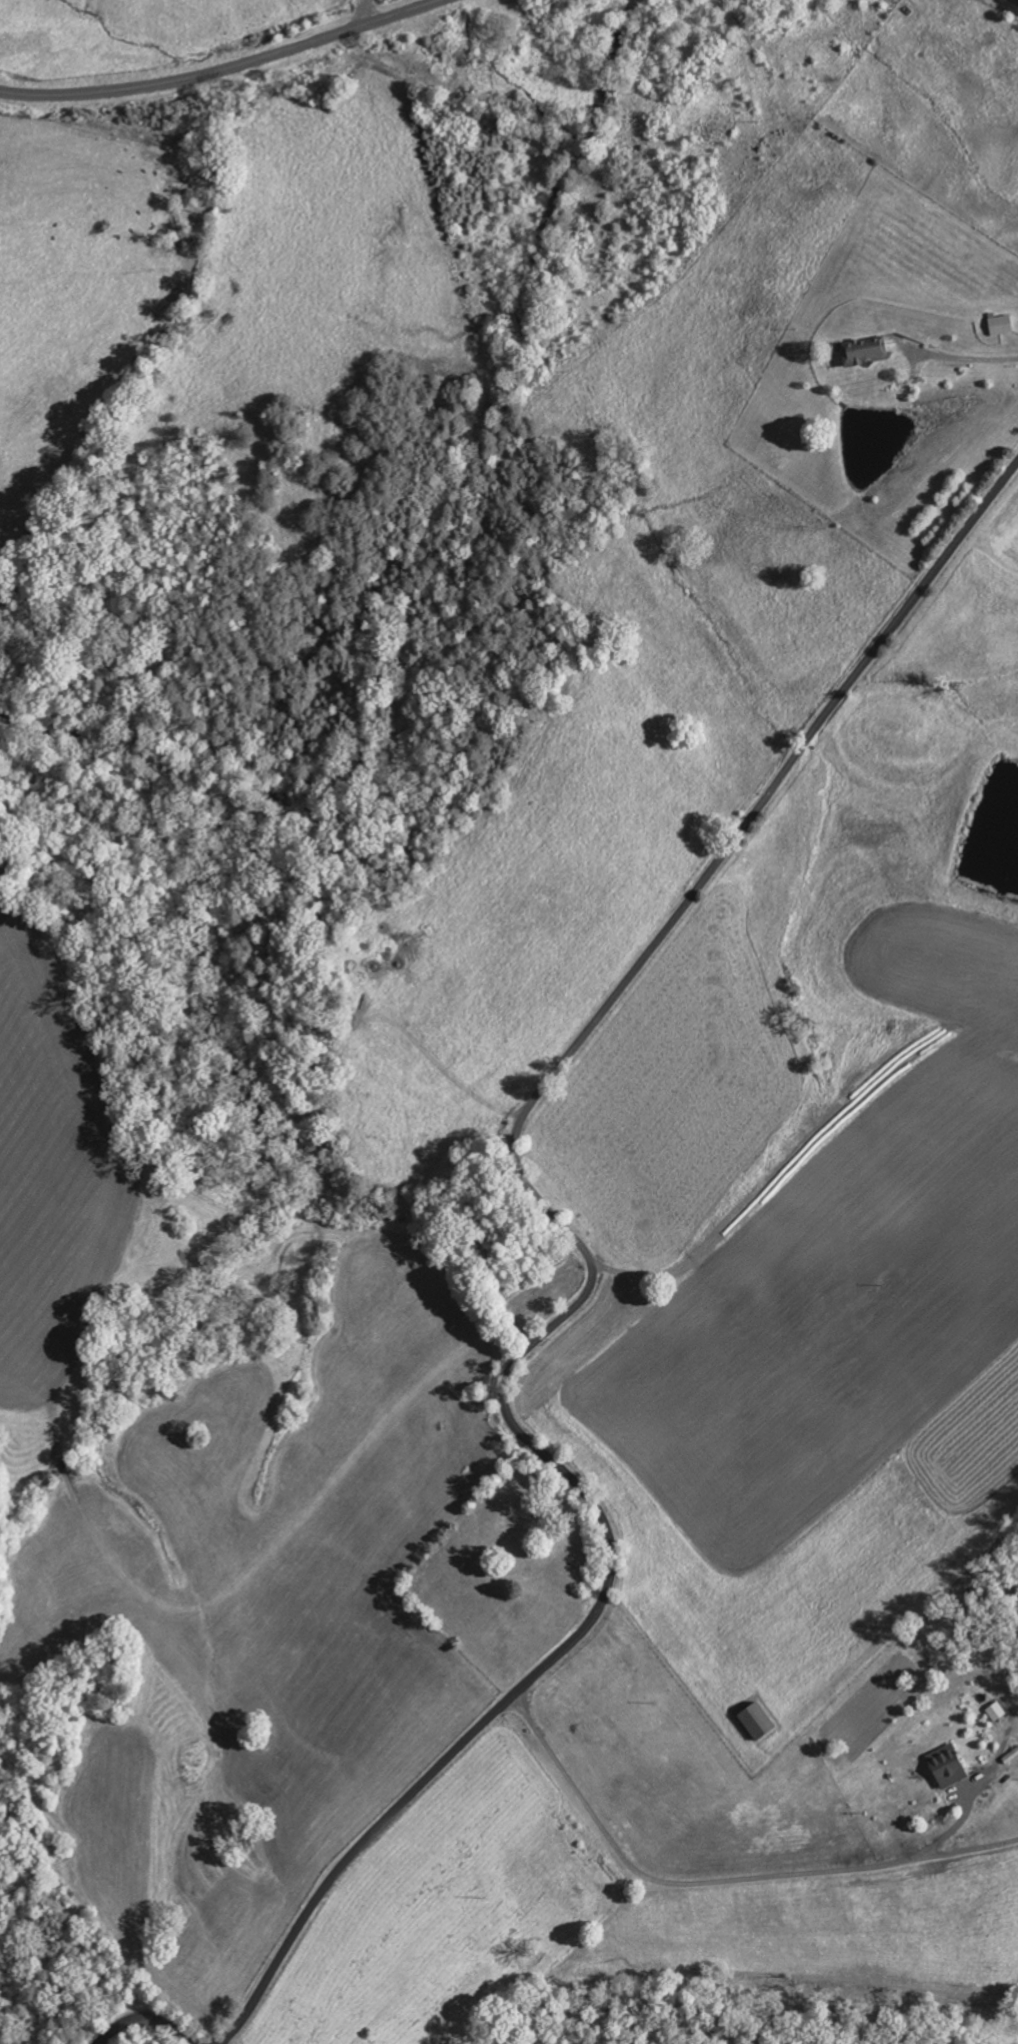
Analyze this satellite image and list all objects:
road: (225, 68)
building: (871, 350)
road: (560, 1322)
building: (761, 1721)
building: (952, 1765)

